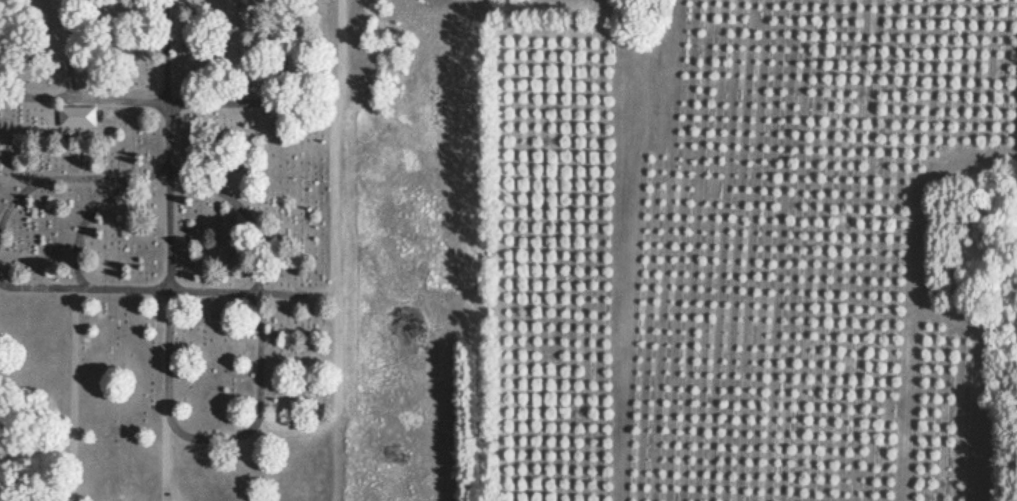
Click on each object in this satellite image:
building: (75, 120)
park: (174, 251)

